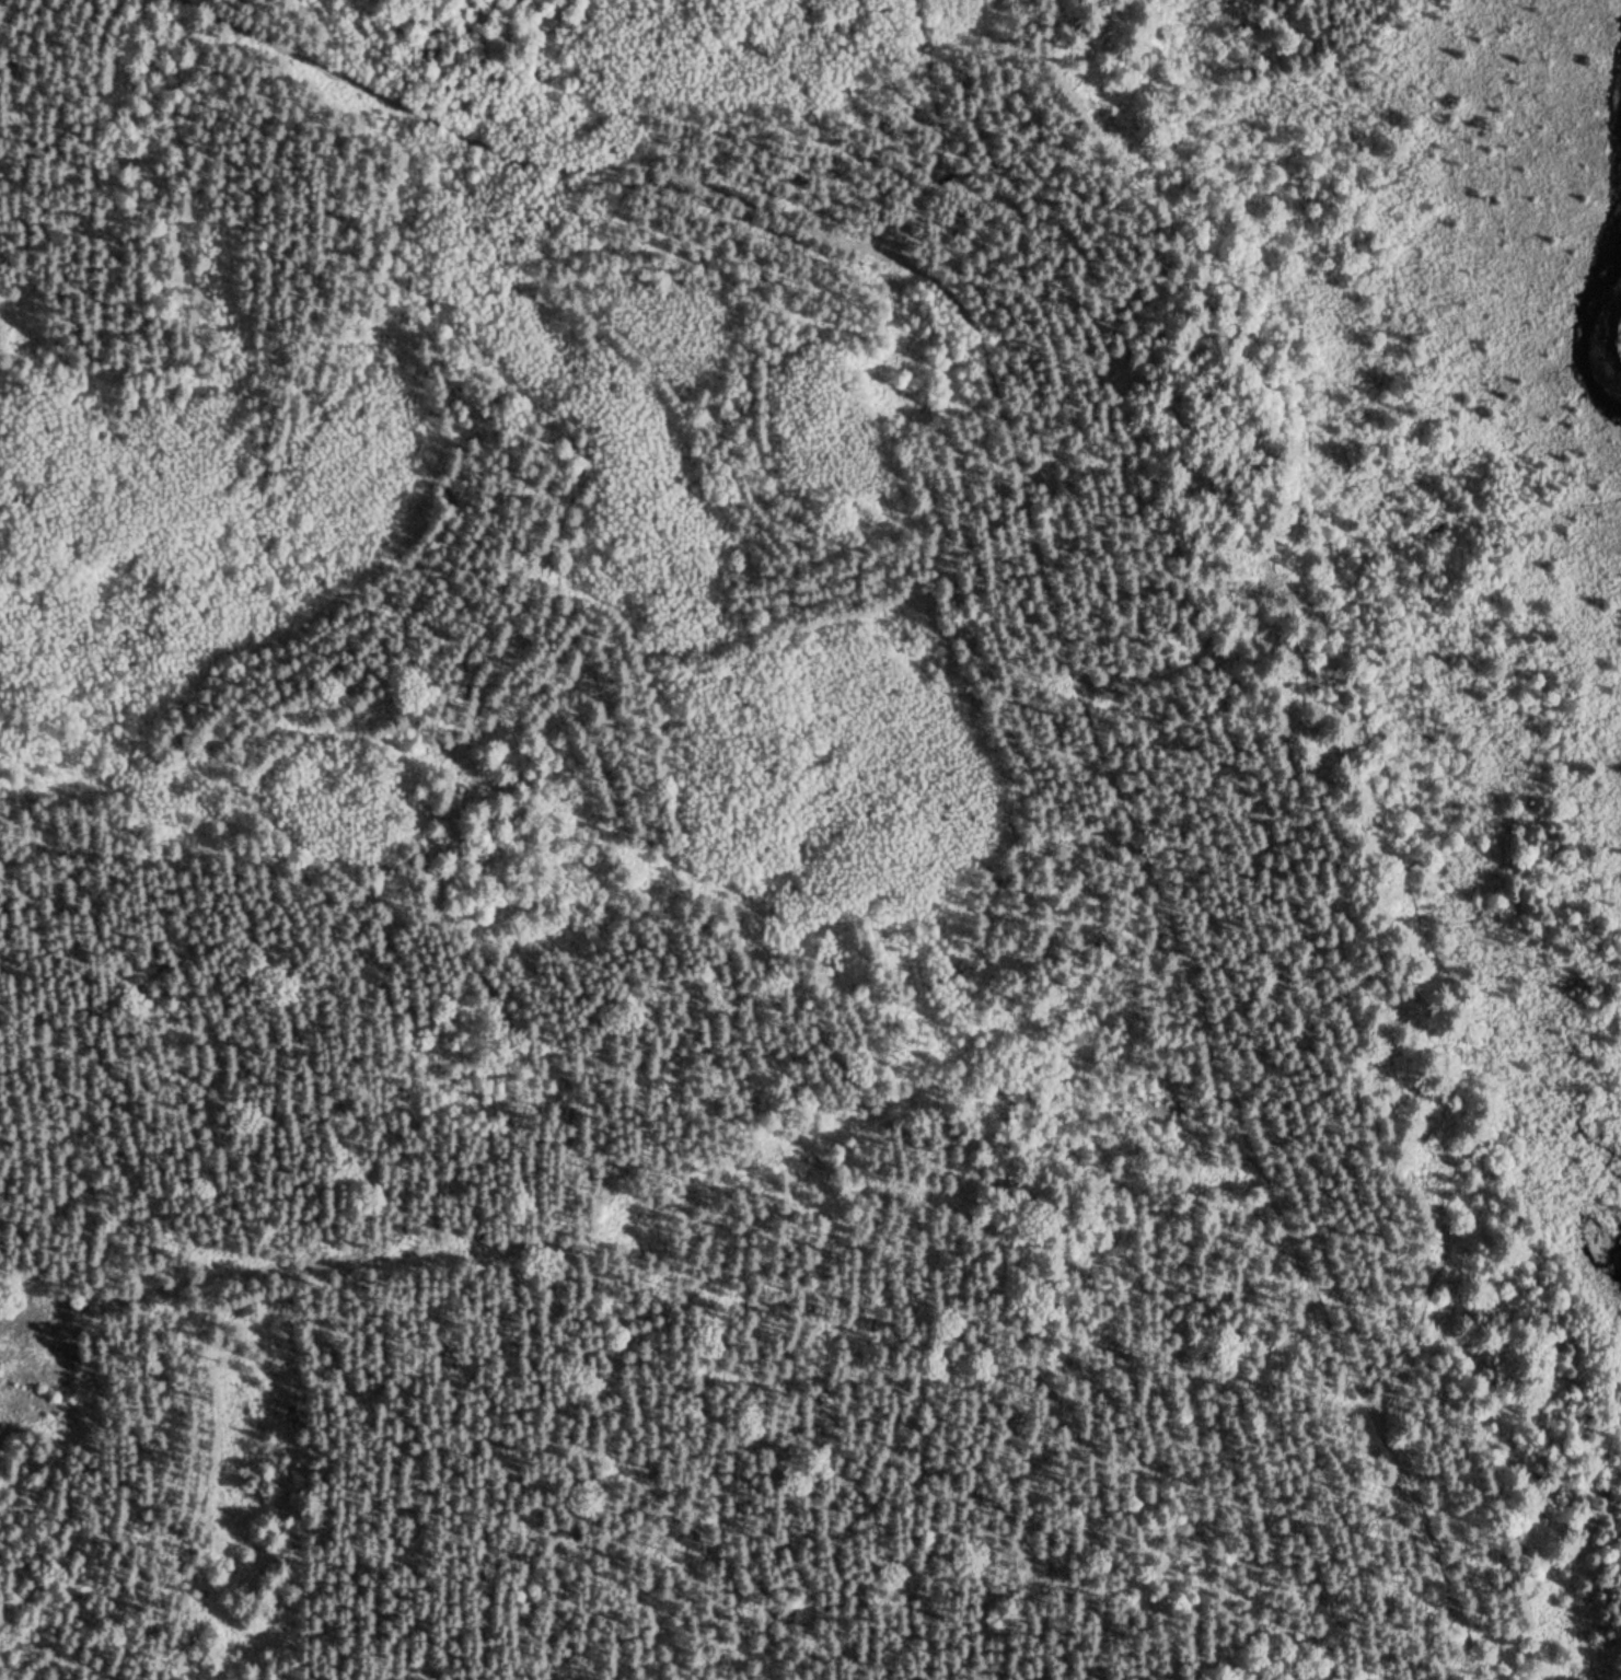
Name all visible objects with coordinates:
road: (1042, 606)

